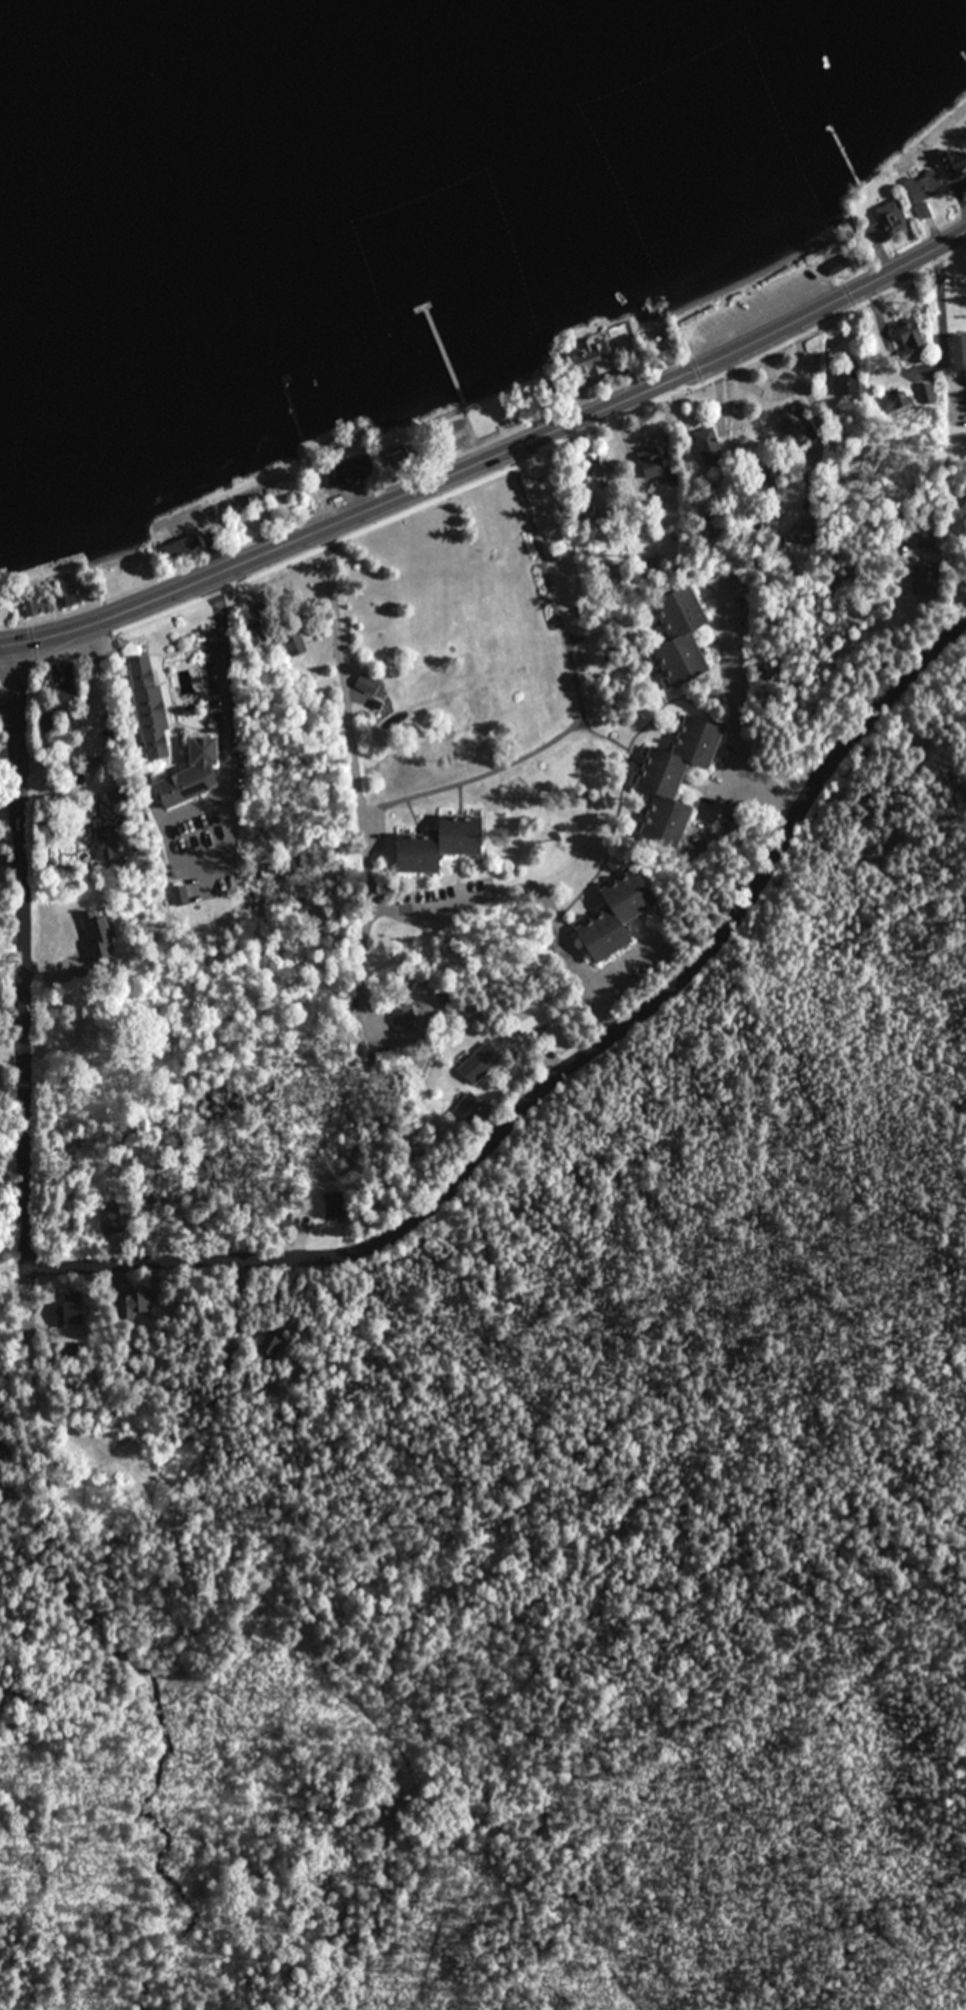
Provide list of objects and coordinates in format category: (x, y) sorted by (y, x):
building: (932, 180)
building: (888, 217)
building: (907, 334)
building: (956, 351)
building: (591, 360)
building: (957, 389)
building: (707, 428)
road: (489, 444)
building: (594, 466)
building: (651, 469)
building: (343, 473)
building: (178, 548)
building: (65, 594)
building: (35, 604)
road: (957, 629)
building: (676, 636)
building: (292, 644)
building: (51, 669)
road: (225, 676)
building: (363, 683)
building: (163, 742)
building: (670, 780)
building: (429, 845)
road: (12, 854)
road: (371, 870)
building: (610, 917)
building: (97, 935)
road: (24, 959)
road: (12, 975)
building: (404, 1019)
building: (531, 1021)
road: (13, 1048)
building: (480, 1064)
road: (558, 1076)
road: (31, 1372)

